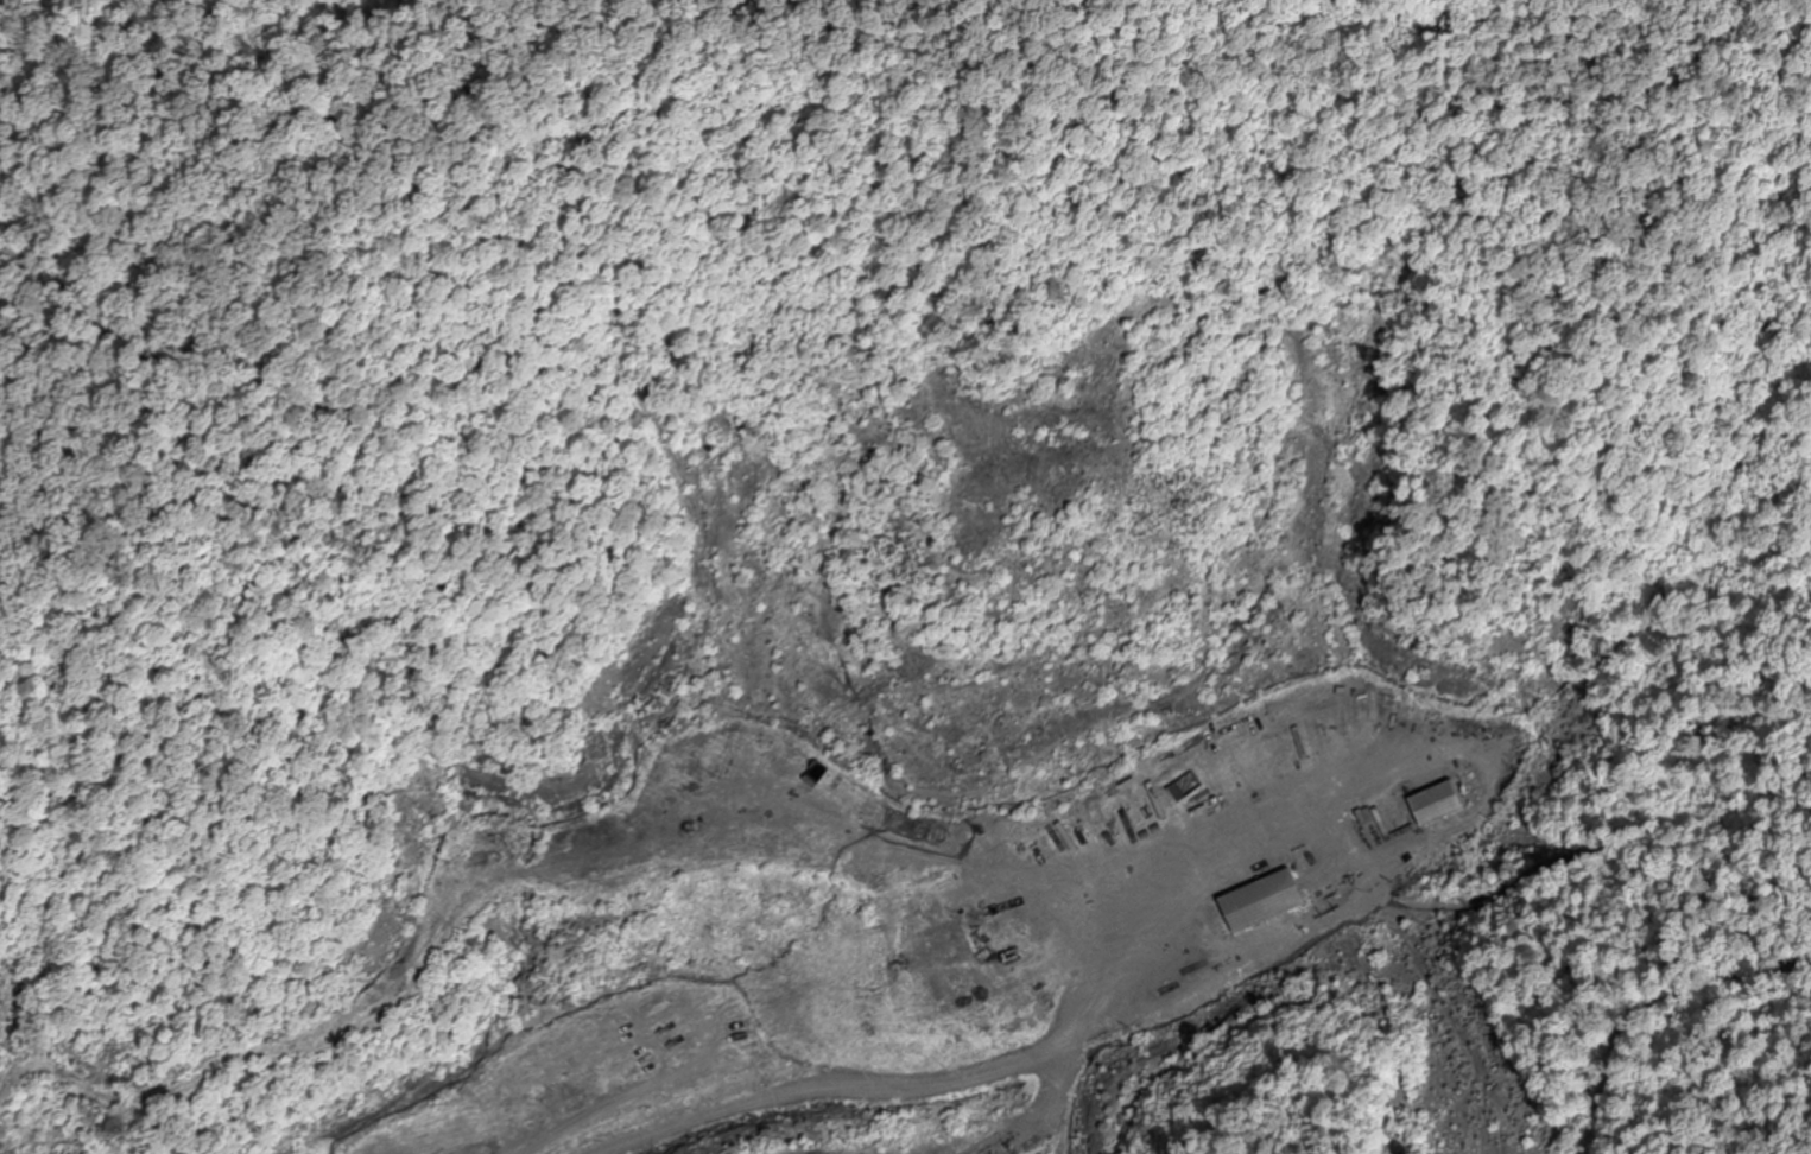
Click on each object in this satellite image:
building: (1271, 729)
building: (1443, 804)
building: (615, 835)
building: (1268, 902)

